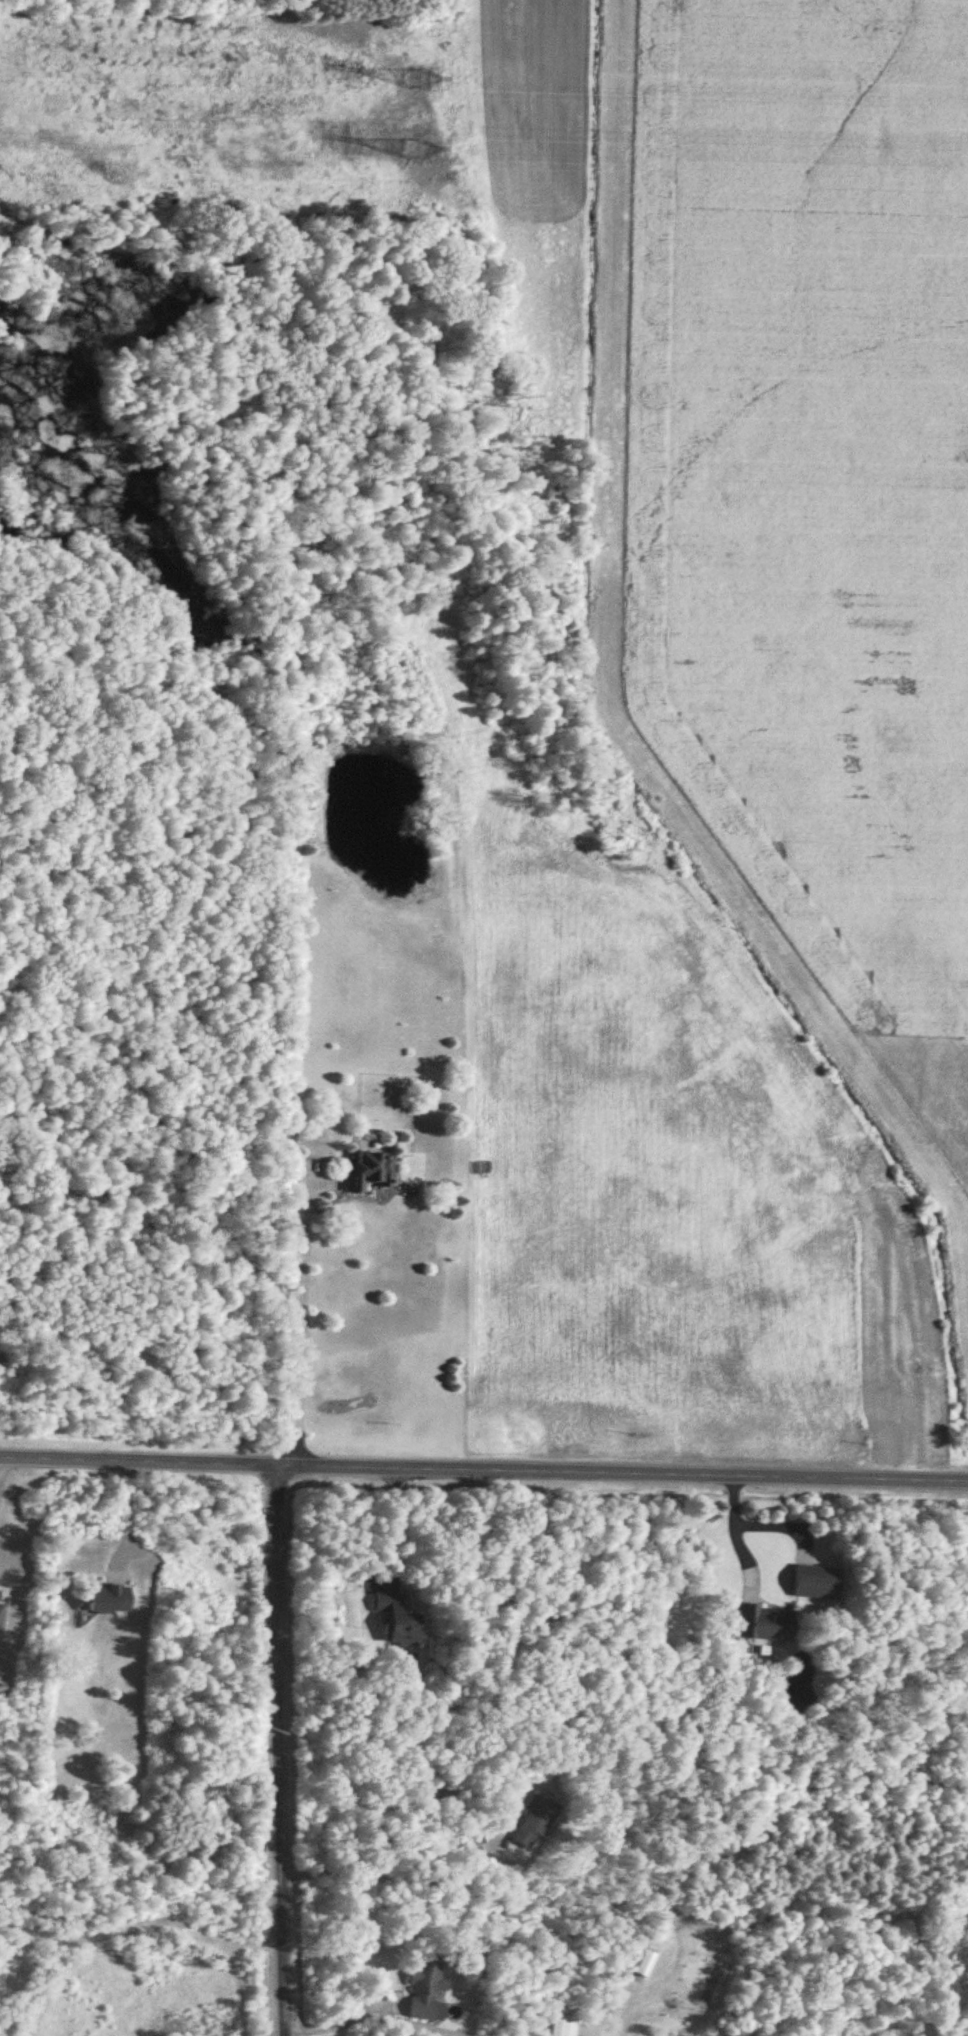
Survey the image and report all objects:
power tower: (419, 80)
power tower: (418, 152)
crop: (801, 506)
crop: (659, 1169)
building: (373, 1170)
road: (483, 1470)
road: (123, 1514)
road: (394, 1520)
road: (737, 1534)
building: (817, 1584)
building: (108, 1599)
building: (2, 1617)
building: (398, 1619)
building: (766, 1624)
road: (279, 1750)
building: (540, 1819)
road: (397, 1877)
crop: (130, 1978)
building: (425, 1989)
road: (341, 2018)
building: (564, 2026)

